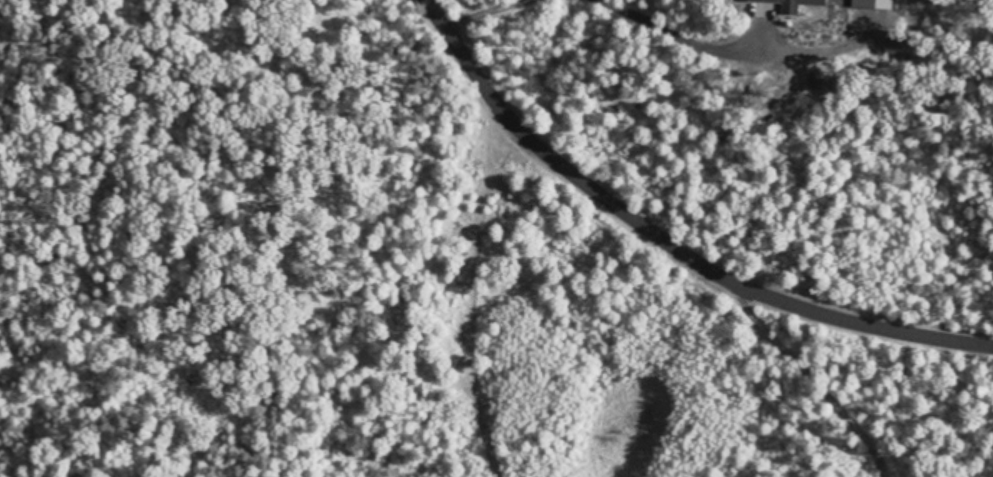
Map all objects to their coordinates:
building: (777, 1)
road: (461, 83)
road: (727, 309)
road: (445, 321)
road: (734, 399)

